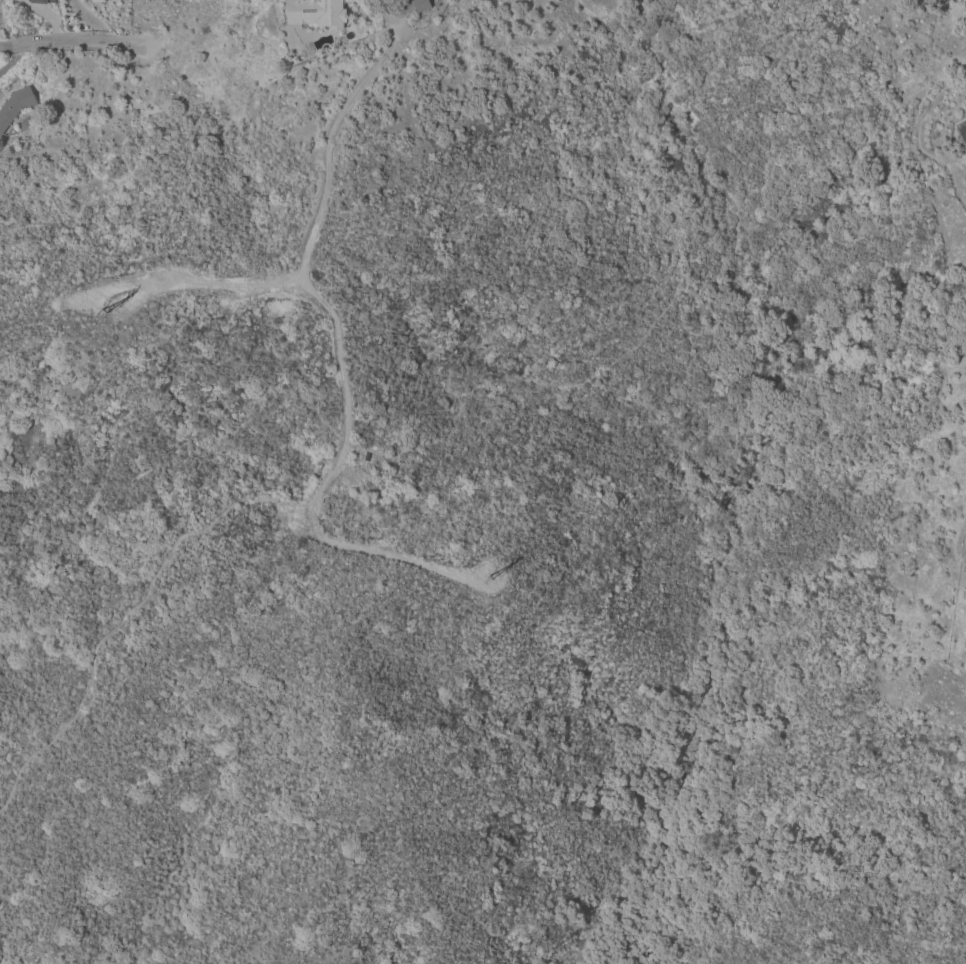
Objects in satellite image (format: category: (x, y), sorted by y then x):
building: (91, 0)
building: (37, 1)
building: (51, 1)
building: (98, 1)
building: (420, 5)
building: (315, 14)
road: (402, 21)
road: (89, 22)
road: (69, 40)
building: (15, 105)
building: (23, 124)
road: (964, 136)
road: (210, 286)
power tower: (113, 305)
road: (344, 367)
park: (851, 495)
power tower: (499, 573)
road: (126, 621)
road: (19, 961)

